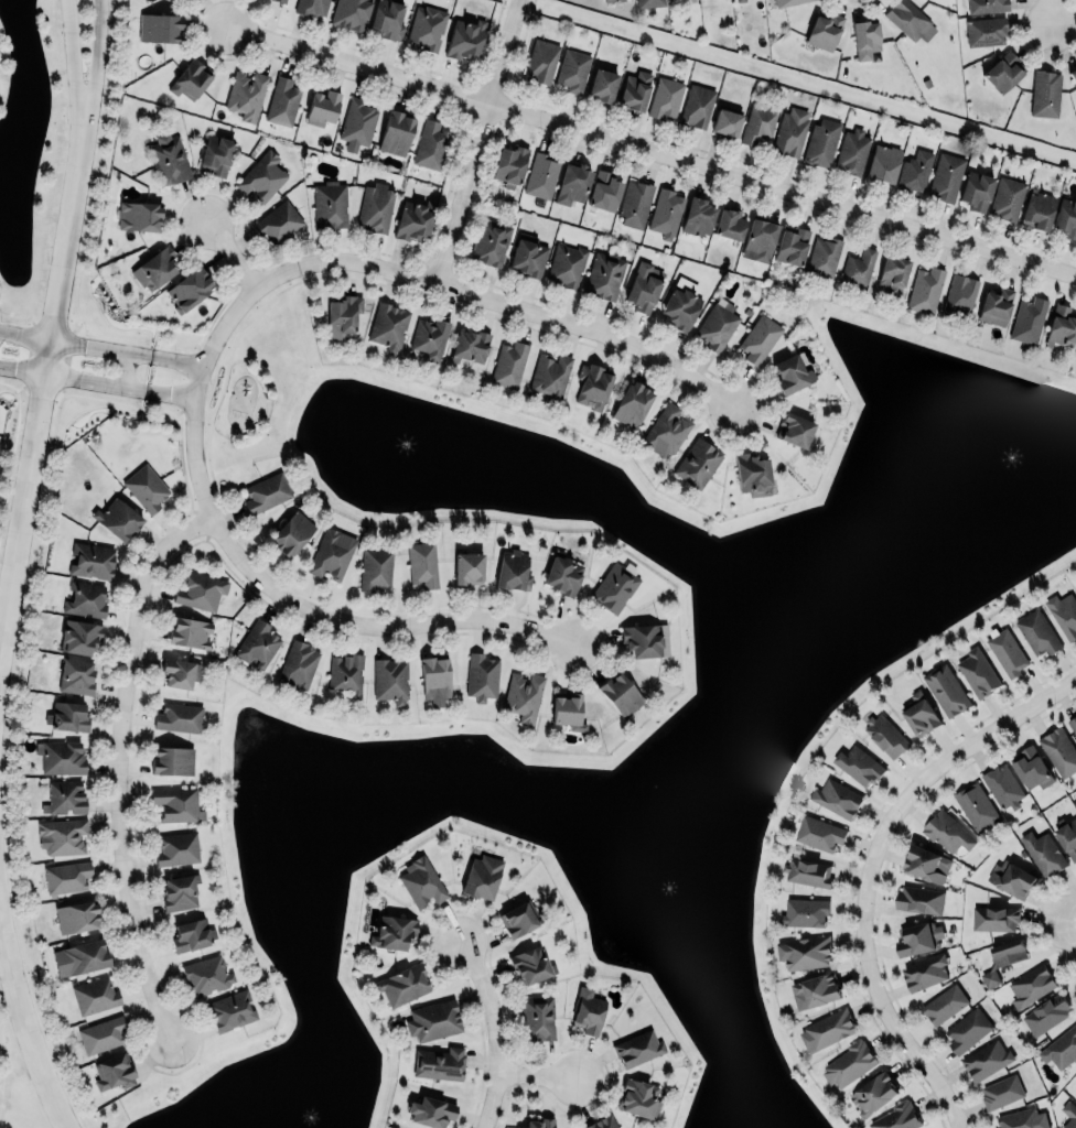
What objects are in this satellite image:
building: (282, 0)
building: (609, 0)
building: (738, 0)
building: (649, 2)
building: (786, 2)
building: (311, 6)
building: (987, 6)
building: (351, 12)
road: (1051, 12)
building: (387, 18)
building: (910, 21)
building: (427, 25)
building: (159, 26)
building: (825, 29)
building: (986, 30)
building: (865, 37)
building: (464, 39)
building: (541, 59)
building: (573, 68)
building: (1003, 72)
building: (1073, 73)
road: (73, 76)
road: (92, 76)
building: (191, 78)
building: (601, 85)
building: (634, 90)
building: (246, 93)
building: (1045, 93)
building: (665, 97)
building: (282, 100)
building: (322, 106)
building: (696, 107)
building: (357, 120)
building: (725, 122)
building: (757, 123)
building: (396, 130)
building: (790, 131)
road: (476, 141)
building: (822, 141)
building: (430, 144)
road: (653, 151)
building: (852, 151)
building: (215, 153)
building: (168, 158)
building: (882, 162)
building: (509, 165)
building: (915, 171)
building: (262, 175)
building: (541, 175)
building: (945, 176)
building: (572, 182)
building: (604, 191)
building: (976, 191)
building: (1007, 197)
building: (635, 203)
building: (330, 204)
building: (376, 206)
building: (1036, 209)
building: (666, 211)
building: (139, 213)
building: (698, 215)
building: (1066, 216)
building: (279, 220)
building: (412, 220)
building: (729, 221)
building: (491, 240)
building: (758, 240)
building: (792, 243)
road: (232, 254)
building: (824, 256)
building: (528, 257)
building: (566, 264)
building: (154, 265)
building: (859, 267)
building: (892, 272)
building: (604, 273)
road: (440, 284)
building: (189, 286)
building: (644, 288)
building: (926, 289)
building: (964, 294)
building: (994, 303)
building: (680, 306)
building: (342, 316)
building: (1027, 317)
building: (717, 325)
building: (388, 326)
building: (1061, 326)
road: (24, 334)
building: (430, 336)
building: (760, 337)
building: (470, 344)
road: (100, 347)
road: (177, 358)
building: (508, 362)
road: (22, 370)
building: (792, 372)
building: (549, 375)
road: (95, 382)
building: (593, 387)
road: (170, 393)
road: (39, 402)
building: (632, 402)
building: (794, 426)
building: (666, 430)
fountain: (422, 441)
building: (697, 463)
building: (752, 474)
fountain: (993, 478)
building: (146, 486)
building: (266, 492)
building: (117, 518)
building: (291, 531)
building: (331, 553)
building: (90, 561)
building: (422, 563)
building: (467, 566)
building: (375, 568)
building: (513, 568)
building: (562, 573)
building: (613, 586)
building: (200, 590)
building: (86, 598)
road: (316, 612)
building: (1064, 612)
building: (189, 631)
building: (1036, 633)
building: (78, 636)
building: (641, 638)
building: (257, 641)
building: (1007, 652)
building: (298, 664)
building: (977, 671)
building: (180, 672)
building: (345, 673)
building: (76, 675)
building: (434, 675)
building: (482, 675)
building: (390, 679)
building: (947, 690)
building: (618, 693)
building: (523, 696)
building: (567, 711)
building: (919, 713)
building: (68, 715)
building: (179, 716)
building: (1072, 723)
building: (885, 735)
building: (1059, 751)
building: (61, 756)
building: (172, 760)
building: (858, 764)
road: (120, 767)
building: (1032, 767)
building: (1003, 784)
building: (64, 796)
building: (836, 799)
building: (1074, 800)
building: (176, 803)
building: (975, 806)
building: (819, 832)
building: (947, 833)
building: (63, 835)
building: (1068, 838)
building: (176, 848)
building: (1043, 853)
building: (925, 861)
road: (870, 867)
building: (807, 871)
building: (67, 876)
building: (481, 877)
building: (1012, 878)
building: (421, 880)
fountain: (666, 890)
building: (179, 892)
building: (919, 898)
road: (1066, 907)
building: (804, 910)
building: (76, 916)
building: (519, 916)
building: (994, 916)
building: (392, 930)
road: (1066, 930)
building: (191, 935)
building: (918, 939)
building: (805, 951)
building: (79, 957)
building: (1003, 958)
building: (529, 964)
building: (925, 970)
building: (206, 975)
building: (402, 985)
building: (1030, 986)
building: (815, 991)
building: (94, 995)
building: (944, 1005)
building: (232, 1009)
building: (588, 1010)
road: (23, 1013)
building: (1046, 1013)
building: (536, 1017)
building: (434, 1019)
building: (827, 1029)
building: (967, 1029)
road: (496, 1031)
building: (101, 1034)
building: (637, 1046)
building: (1061, 1048)
building: (987, 1060)
building: (440, 1062)
building: (848, 1064)
building: (114, 1070)
road: (538, 1078)
building: (874, 1092)
building: (1001, 1092)
building: (1075, 1096)
building: (638, 1097)
building: (430, 1111)
building: (1068, 1115)
fountain: (308, 1116)
building: (899, 1117)
building: (1022, 1119)
building: (601, 1121)
building: (538, 1122)

